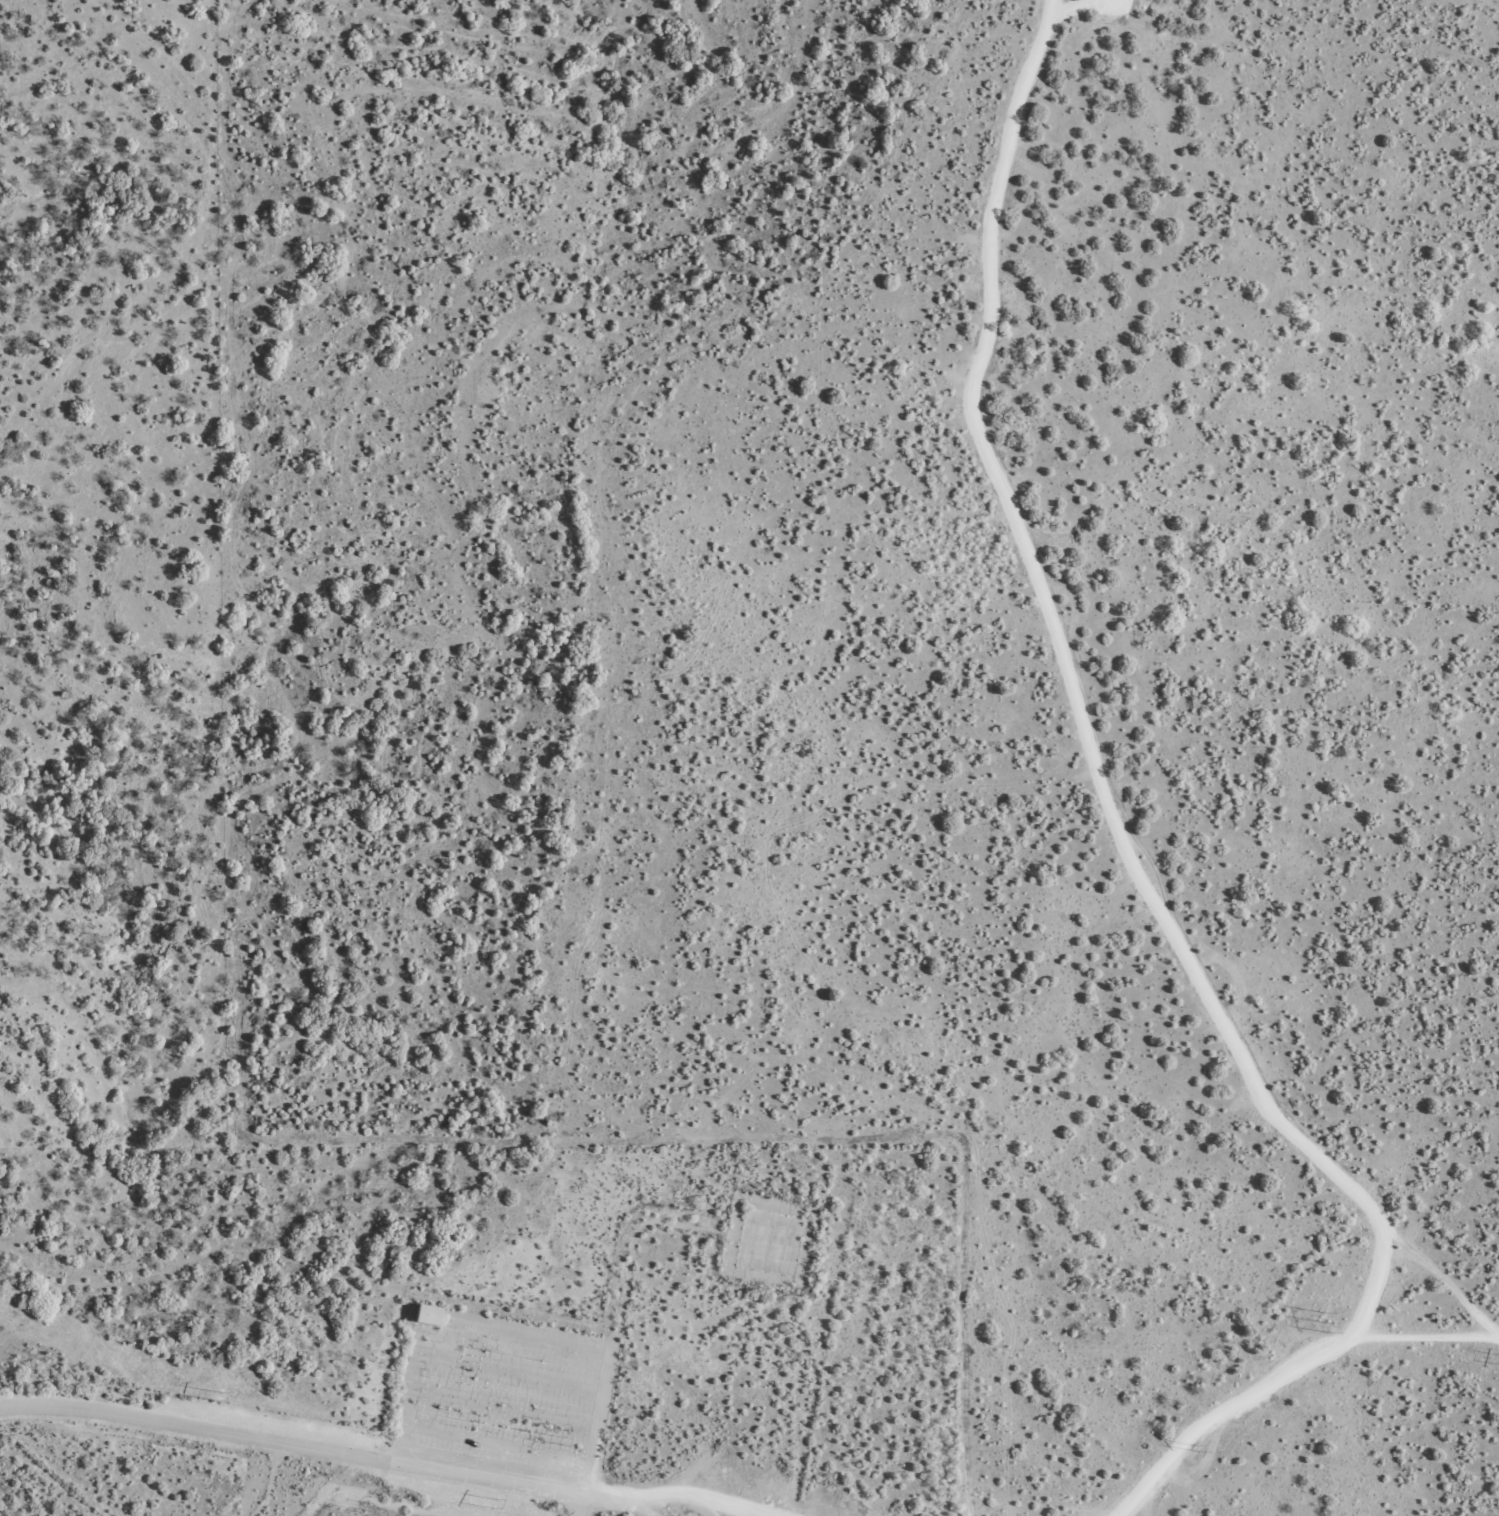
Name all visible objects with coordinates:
road: (1037, 753)
building: (424, 1315)
road: (609, 1316)
power tower: (1333, 1322)
road: (1265, 1377)
power tower: (220, 1396)
parking lot: (497, 1397)
power tower: (1207, 1450)
road: (361, 1461)
power tower: (494, 1503)
road: (588, 1509)

